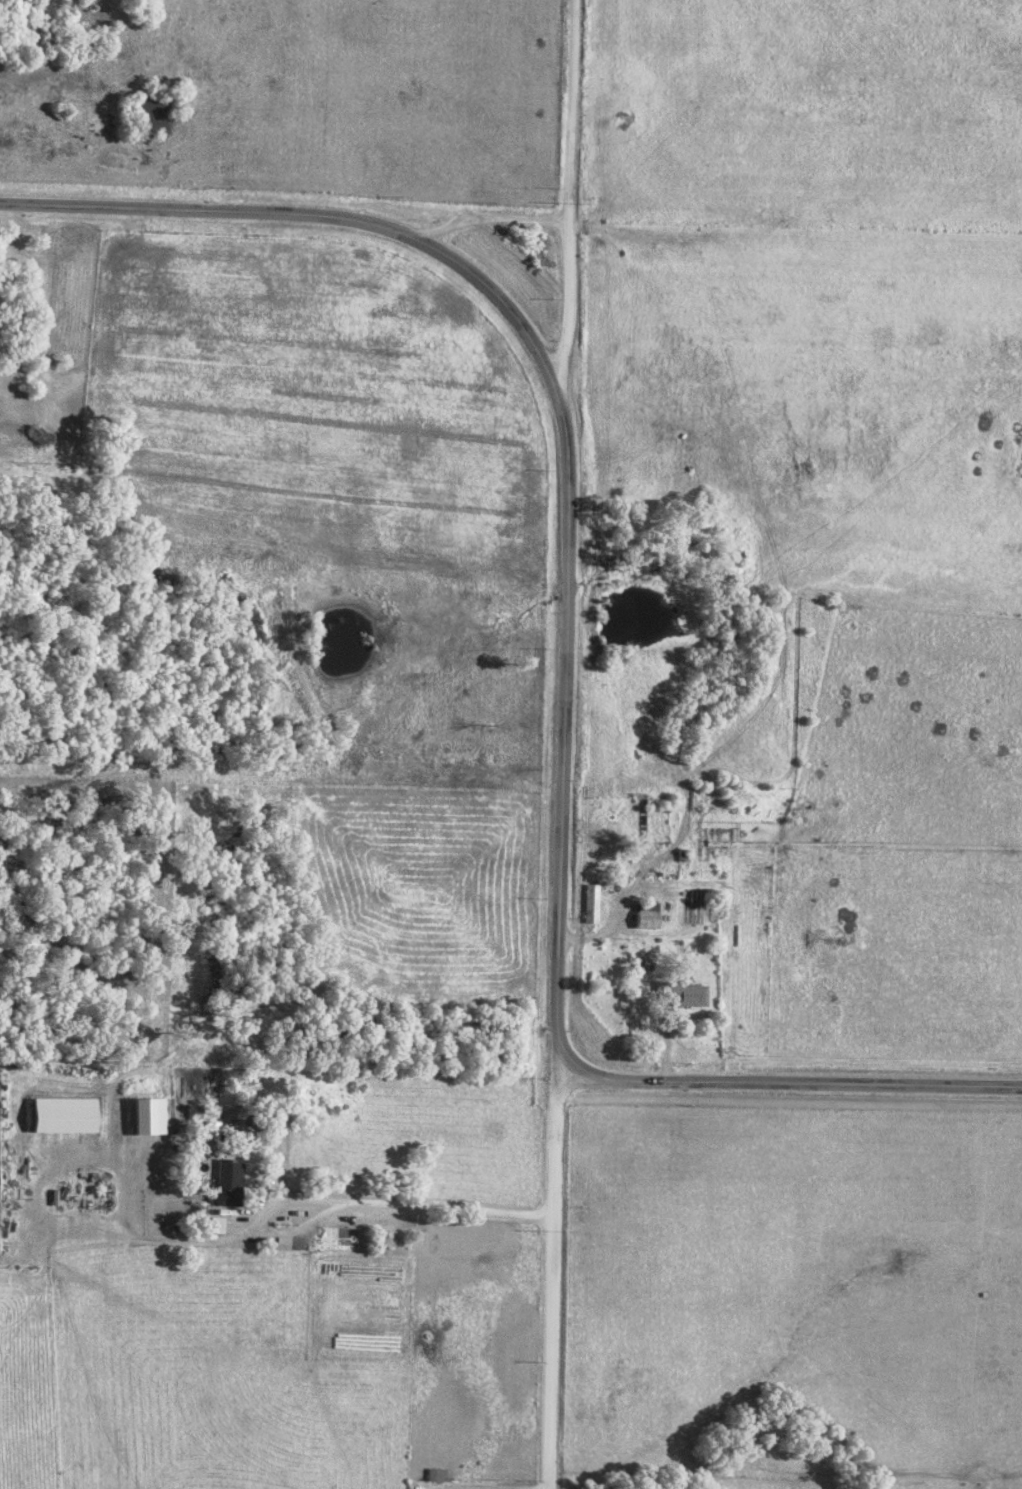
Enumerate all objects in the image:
road: (571, 191)
road: (715, 260)
road: (564, 416)
building: (590, 903)
building: (646, 915)
road: (651, 968)
building: (679, 993)
road: (788, 1081)
building: (149, 1116)
building: (228, 1183)
road: (392, 1201)
building: (215, 1226)
road: (550, 1283)
building: (435, 1475)

